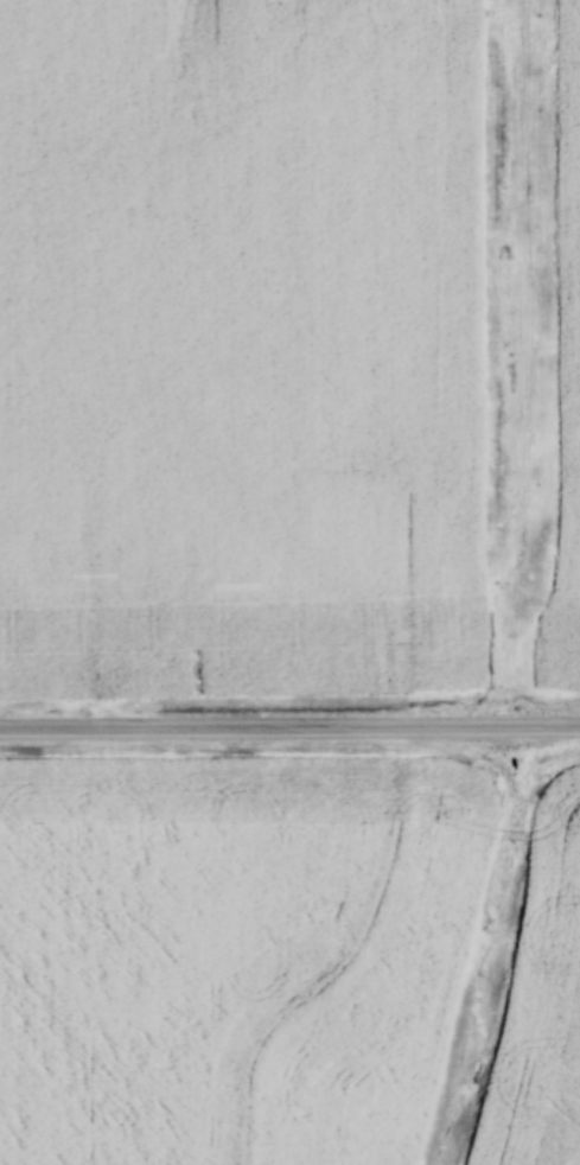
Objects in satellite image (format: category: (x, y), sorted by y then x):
road: (289, 731)

